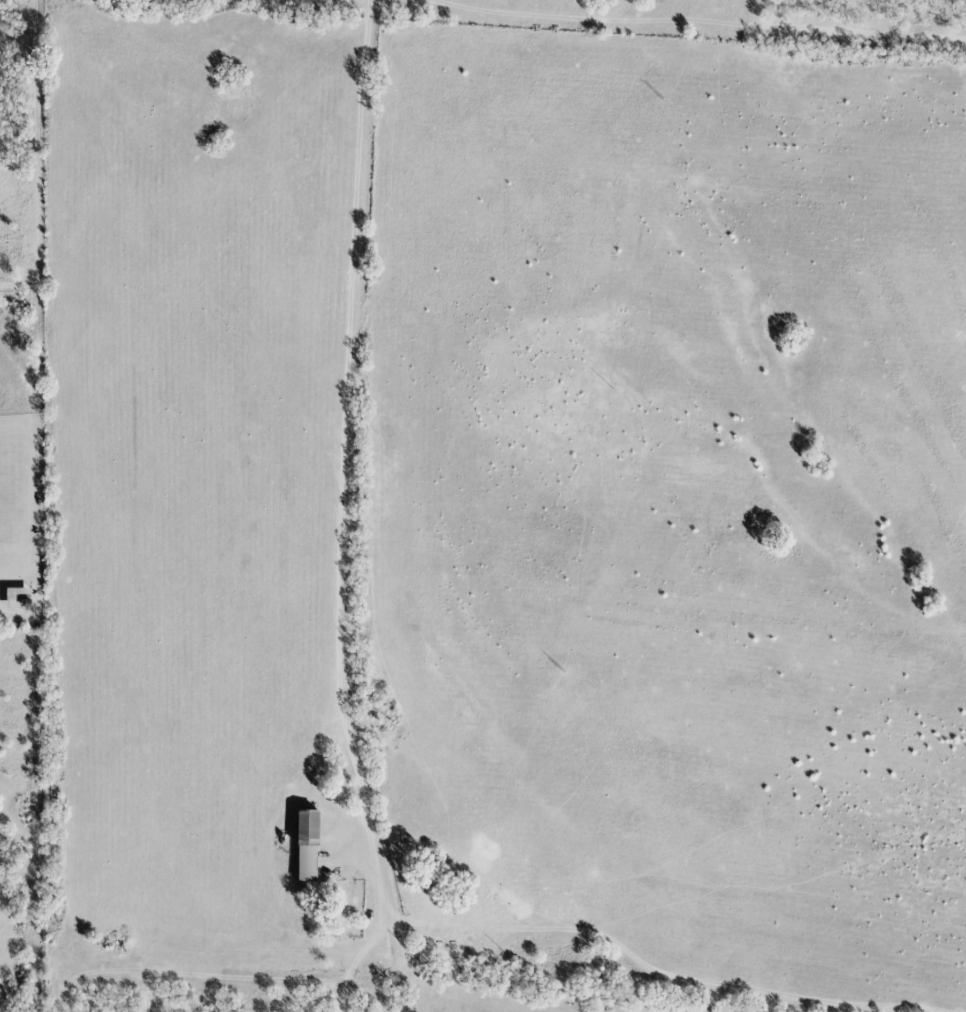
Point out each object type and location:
road: (342, 509)
building: (17, 598)

